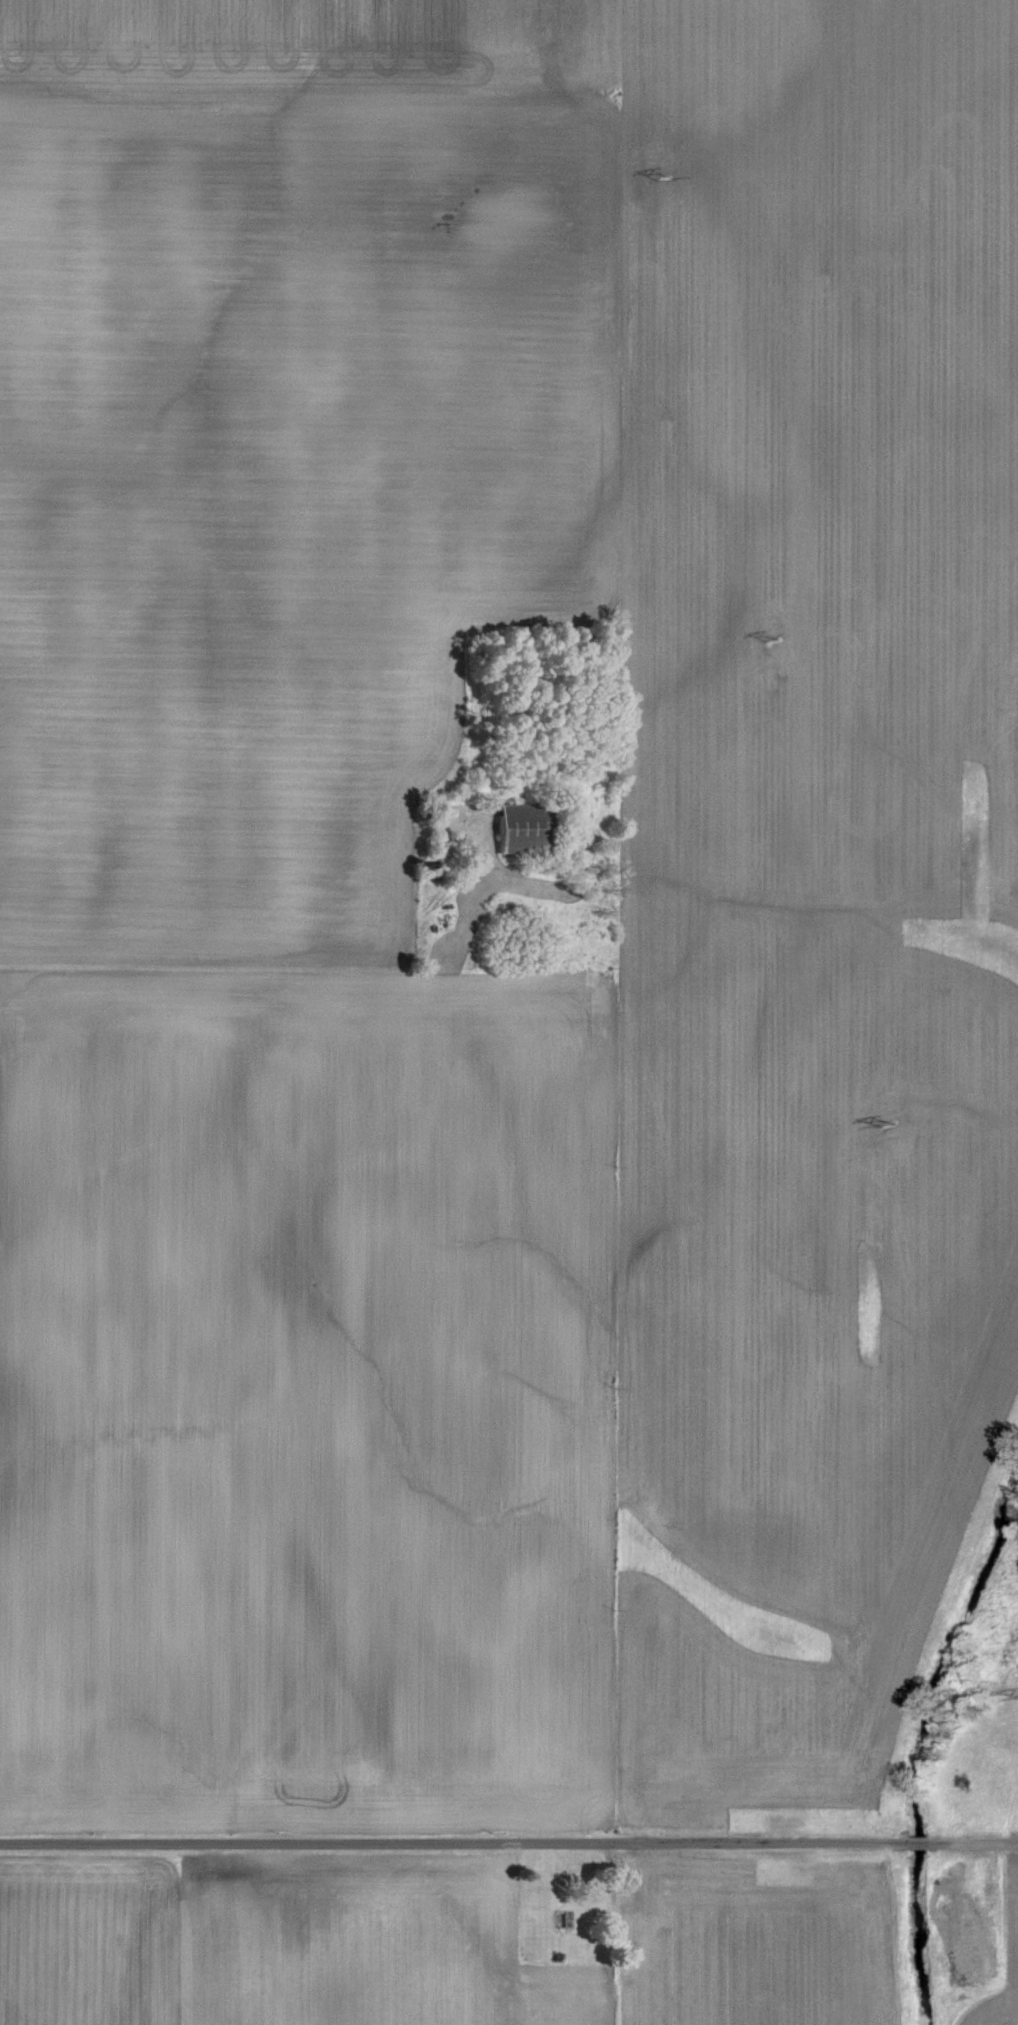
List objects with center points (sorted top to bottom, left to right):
power tower: (662, 177)
power tower: (772, 641)
power tower: (889, 1123)
road: (451, 1840)
road: (912, 1841)
road: (970, 1841)

